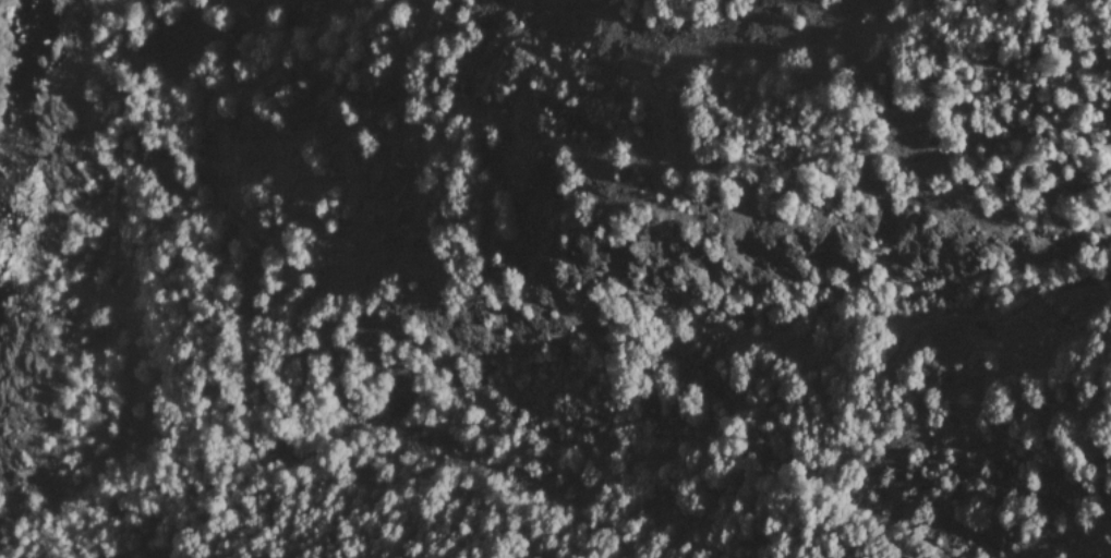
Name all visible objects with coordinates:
river: (13, 119)

